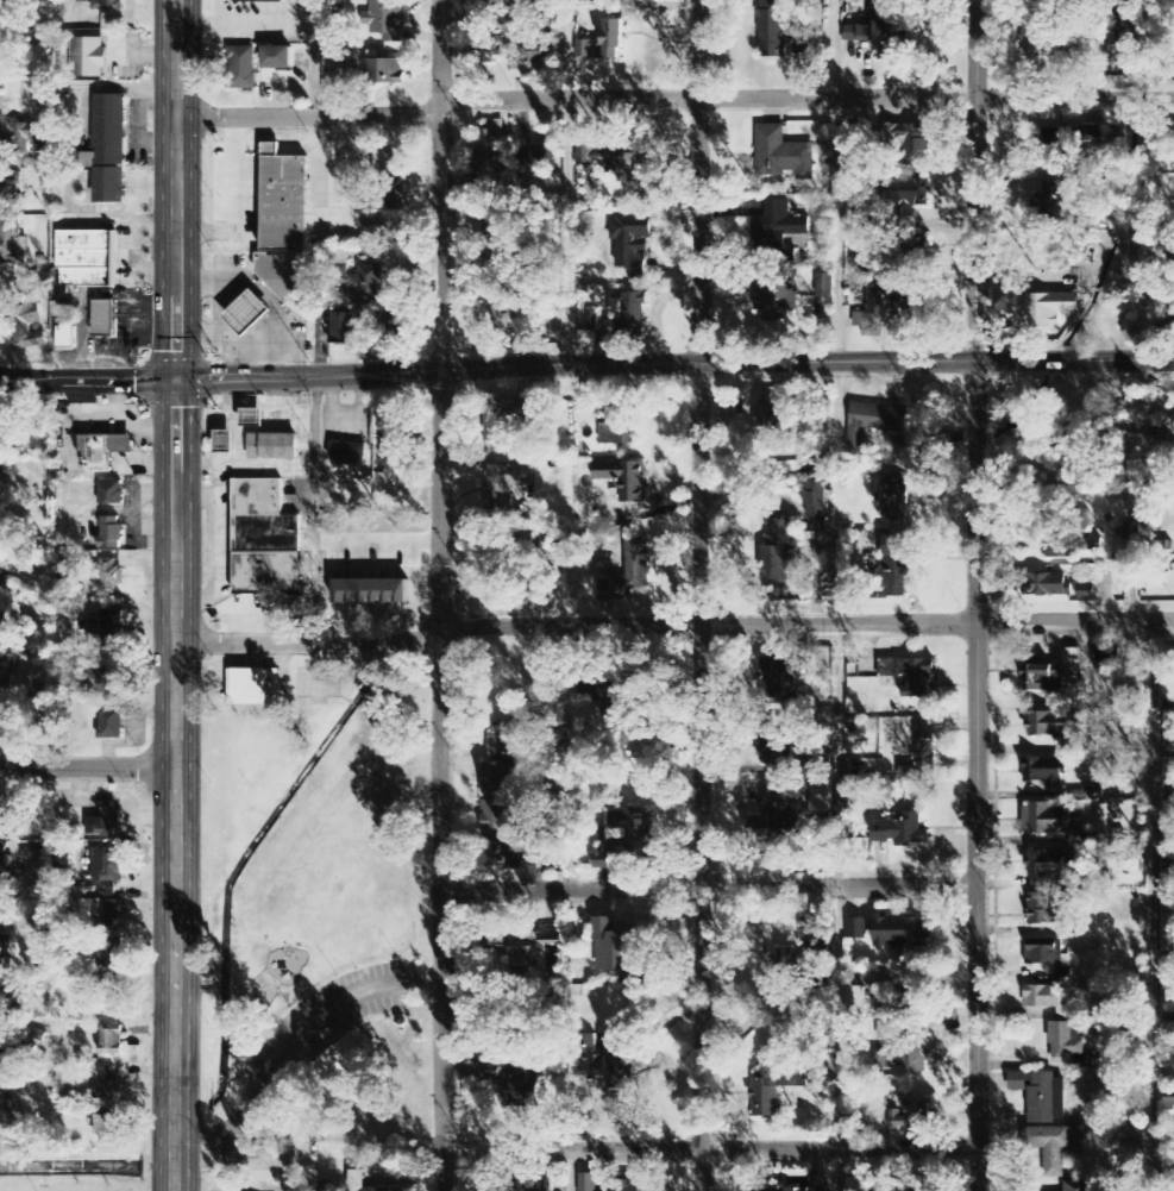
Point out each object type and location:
building: (260, 1)
building: (6, 5)
building: (103, 5)
building: (1037, 15)
building: (387, 20)
building: (1115, 25)
building: (780, 32)
building: (881, 36)
building: (603, 42)
building: (539, 48)
building: (485, 49)
building: (88, 57)
building: (276, 57)
building: (1113, 61)
building: (243, 68)
building: (520, 70)
building: (383, 71)
road: (806, 100)
road: (309, 117)
building: (1069, 138)
building: (19, 139)
building: (489, 145)
building: (906, 145)
building: (109, 149)
building: (783, 153)
building: (542, 158)
building: (622, 161)
building: (10, 186)
building: (395, 190)
building: (905, 193)
building: (1050, 198)
building: (283, 201)
road: (975, 208)
building: (779, 227)
building: (632, 242)
road: (701, 245)
building: (915, 246)
building: (86, 258)
building: (282, 276)
building: (366, 288)
building: (777, 299)
building: (910, 307)
building: (1049, 309)
building: (873, 311)
building: (246, 313)
building: (630, 318)
building: (1173, 318)
building: (105, 320)
building: (27, 324)
building: (343, 328)
building: (389, 331)
building: (67, 337)
road: (586, 370)
traffic signals: (177, 380)
building: (767, 397)
building: (767, 416)
building: (509, 418)
building: (620, 425)
road: (977, 432)
building: (224, 441)
building: (272, 447)
building: (394, 449)
building: (105, 450)
building: (347, 453)
building: (623, 478)
building: (506, 484)
building: (111, 494)
road: (701, 501)
building: (893, 501)
building: (816, 506)
building: (111, 533)
building: (264, 540)
building: (1071, 547)
building: (779, 557)
building: (630, 572)
building: (894, 572)
building: (1, 576)
building: (107, 577)
building: (1154, 578)
building: (1047, 585)
building: (1086, 593)
road: (176, 595)
road: (438, 595)
building: (2, 626)
building: (106, 626)
road: (805, 626)
road: (307, 640)
building: (1072, 657)
building: (6, 672)
building: (107, 672)
building: (910, 675)
building: (1043, 678)
building: (778, 683)
building: (253, 688)
building: (604, 698)
building: (2, 722)
building: (111, 725)
building: (1050, 725)
building: (501, 742)
building: (777, 744)
building: (922, 759)
road: (88, 767)
building: (1042, 771)
building: (496, 779)
building: (1094, 792)
building: (2, 816)
building: (495, 816)
road: (977, 817)
building: (1044, 820)
building: (105, 822)
building: (774, 829)
building: (902, 832)
building: (629, 834)
building: (1076, 838)
road: (697, 851)
building: (508, 852)
building: (599, 859)
building: (5, 864)
building: (107, 865)
building: (1046, 867)
road: (709, 886)
road: (1153, 907)
road: (837, 908)
building: (103, 909)
park: (316, 909)
building: (1047, 910)
building: (858, 929)
building: (900, 932)
building: (497, 941)
building: (111, 949)
building: (616, 949)
building: (6, 953)
building: (520, 953)
building: (1048, 955)
building: (1042, 998)
building: (855, 1004)
building: (892, 1030)
parking lot: (319, 1032)
building: (1067, 1040)
building: (111, 1041)
road: (295, 1043)
building: (353, 1049)
building: (584, 1055)
building: (914, 1058)
building: (6, 1059)
building: (1084, 1061)
building: (331, 1071)
building: (490, 1073)
building: (617, 1073)
building: (108, 1086)
building: (776, 1086)
building: (521, 1090)
building: (1036, 1096)
building: (1166, 1111)
building: (912, 1115)
building: (108, 1128)
building: (1053, 1147)
road: (710, 1149)
building: (258, 1160)
road: (570, 1170)
building: (360, 1181)
building: (588, 1183)
building: (542, 1185)
building: (629, 1185)
building: (332, 1186)
building: (1081, 1186)
building: (784, 1190)
building: (817, 1190)

